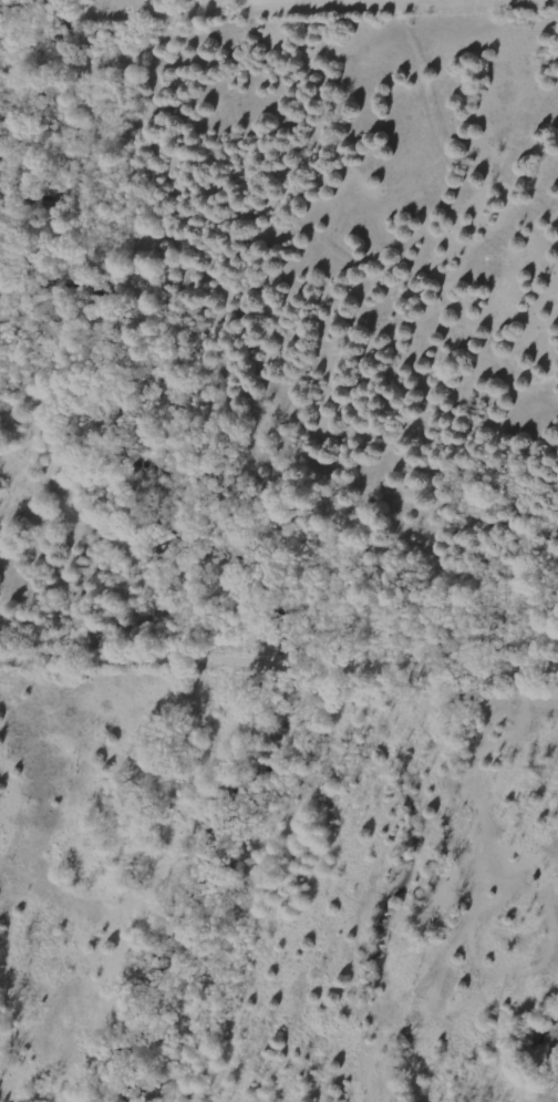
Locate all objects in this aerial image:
road: (279, 673)

